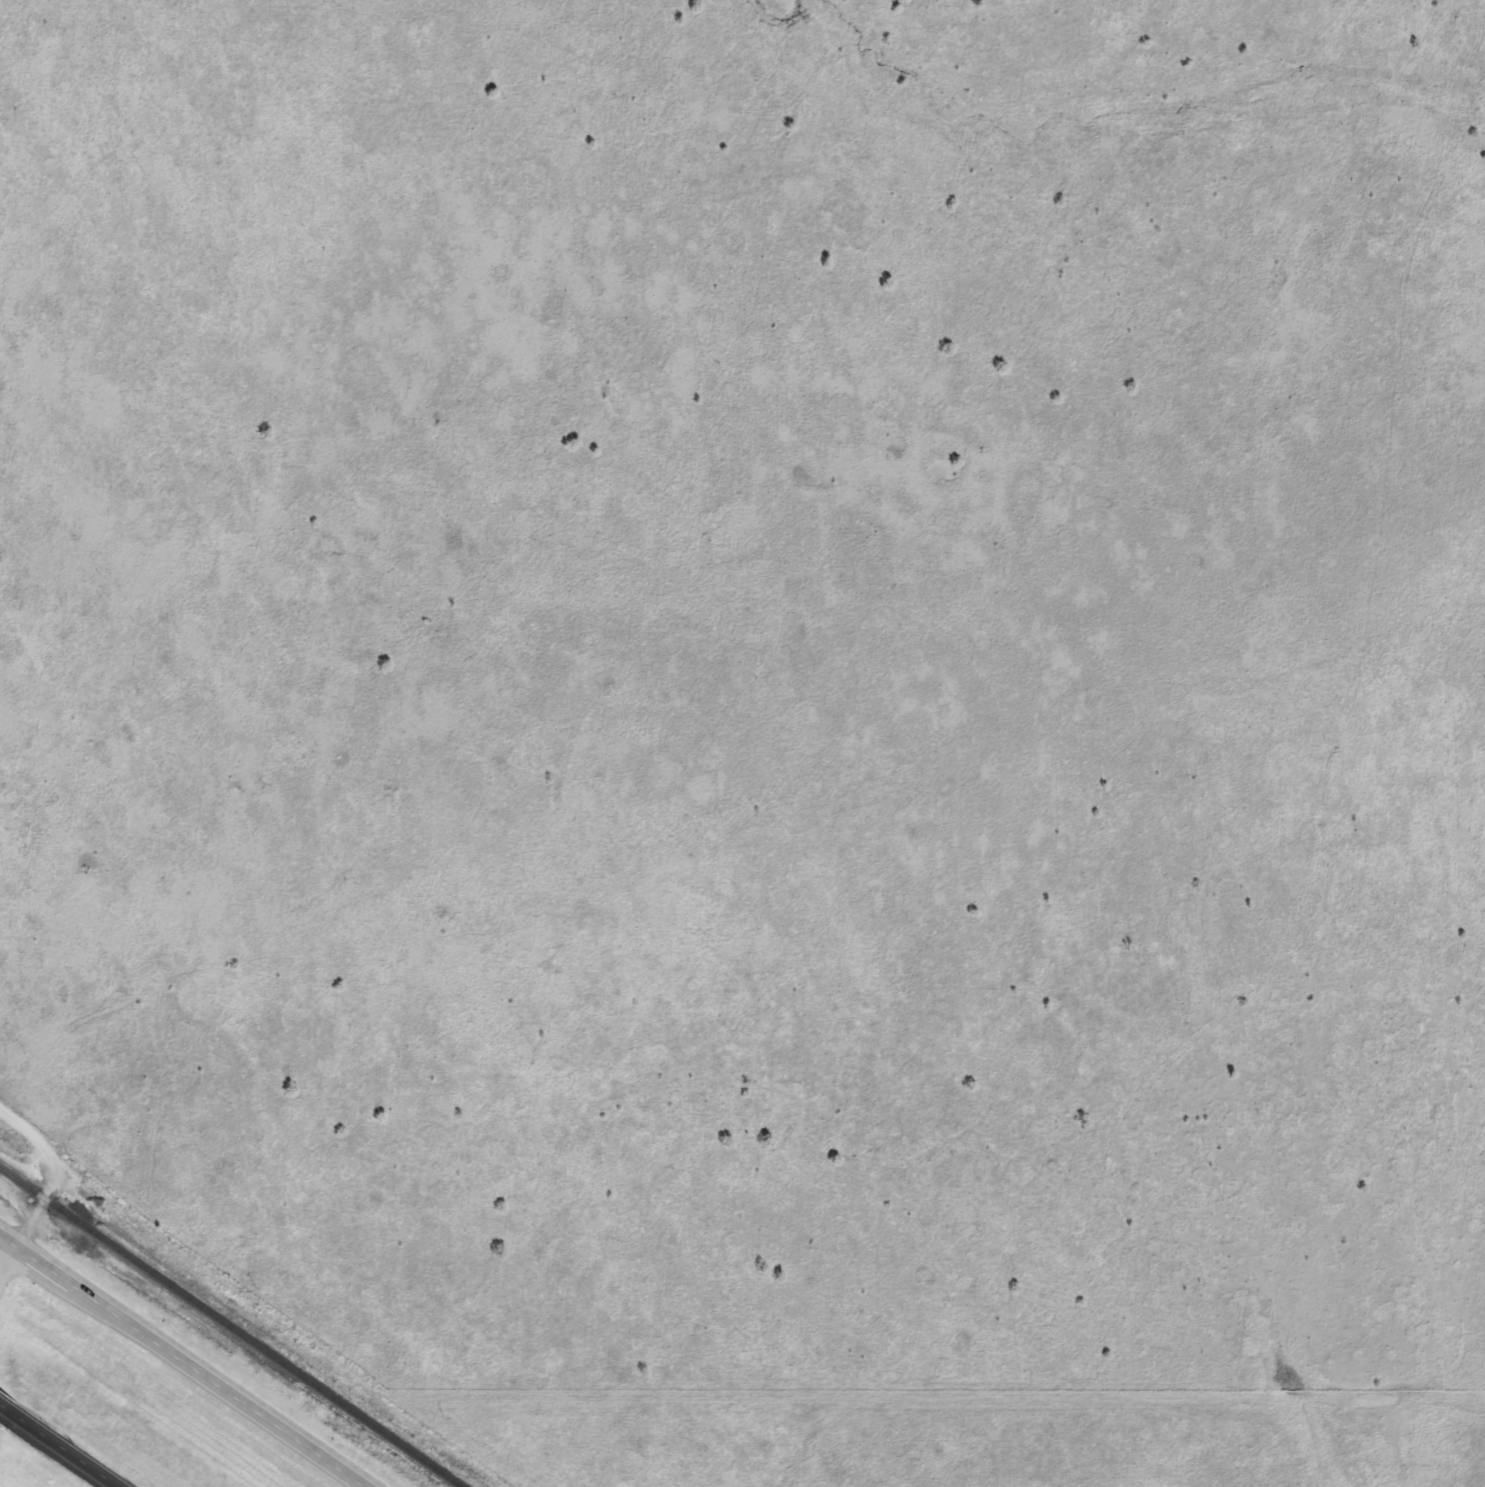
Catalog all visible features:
road: (56, 1168)
road: (8, 1264)
railway: (229, 1329)
road: (183, 1359)
road: (10, 1413)
road: (68, 1453)

